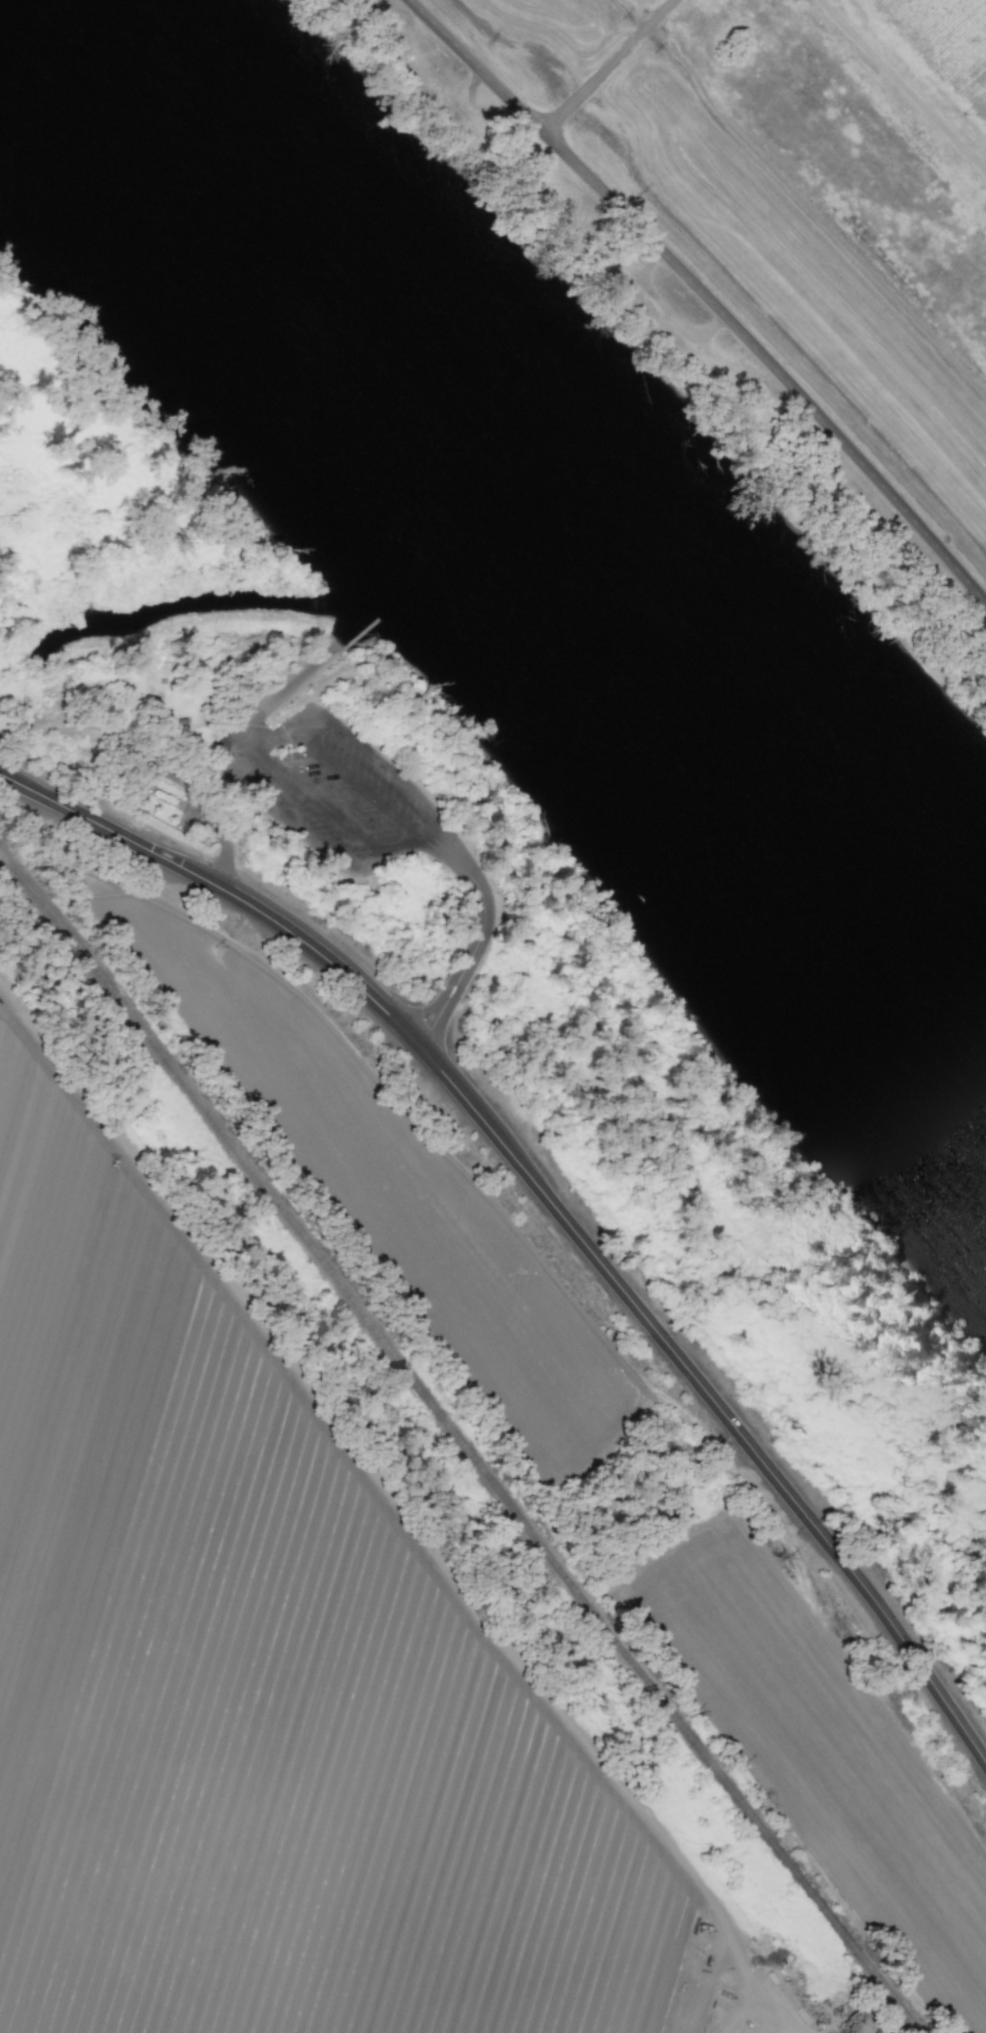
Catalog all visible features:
road: (654, 19)
road: (586, 83)
road: (703, 295)
river: (519, 505)
road: (289, 682)
road: (307, 714)
building: (182, 727)
road: (248, 733)
road: (266, 748)
road: (380, 751)
road: (354, 776)
road: (323, 801)
road: (427, 812)
road: (299, 821)
road: (387, 848)
road: (449, 853)
road: (468, 970)
crop: (390, 1191)
road: (555, 1208)
railway: (458, 1441)
road: (402, 1513)
crop: (290, 1674)

